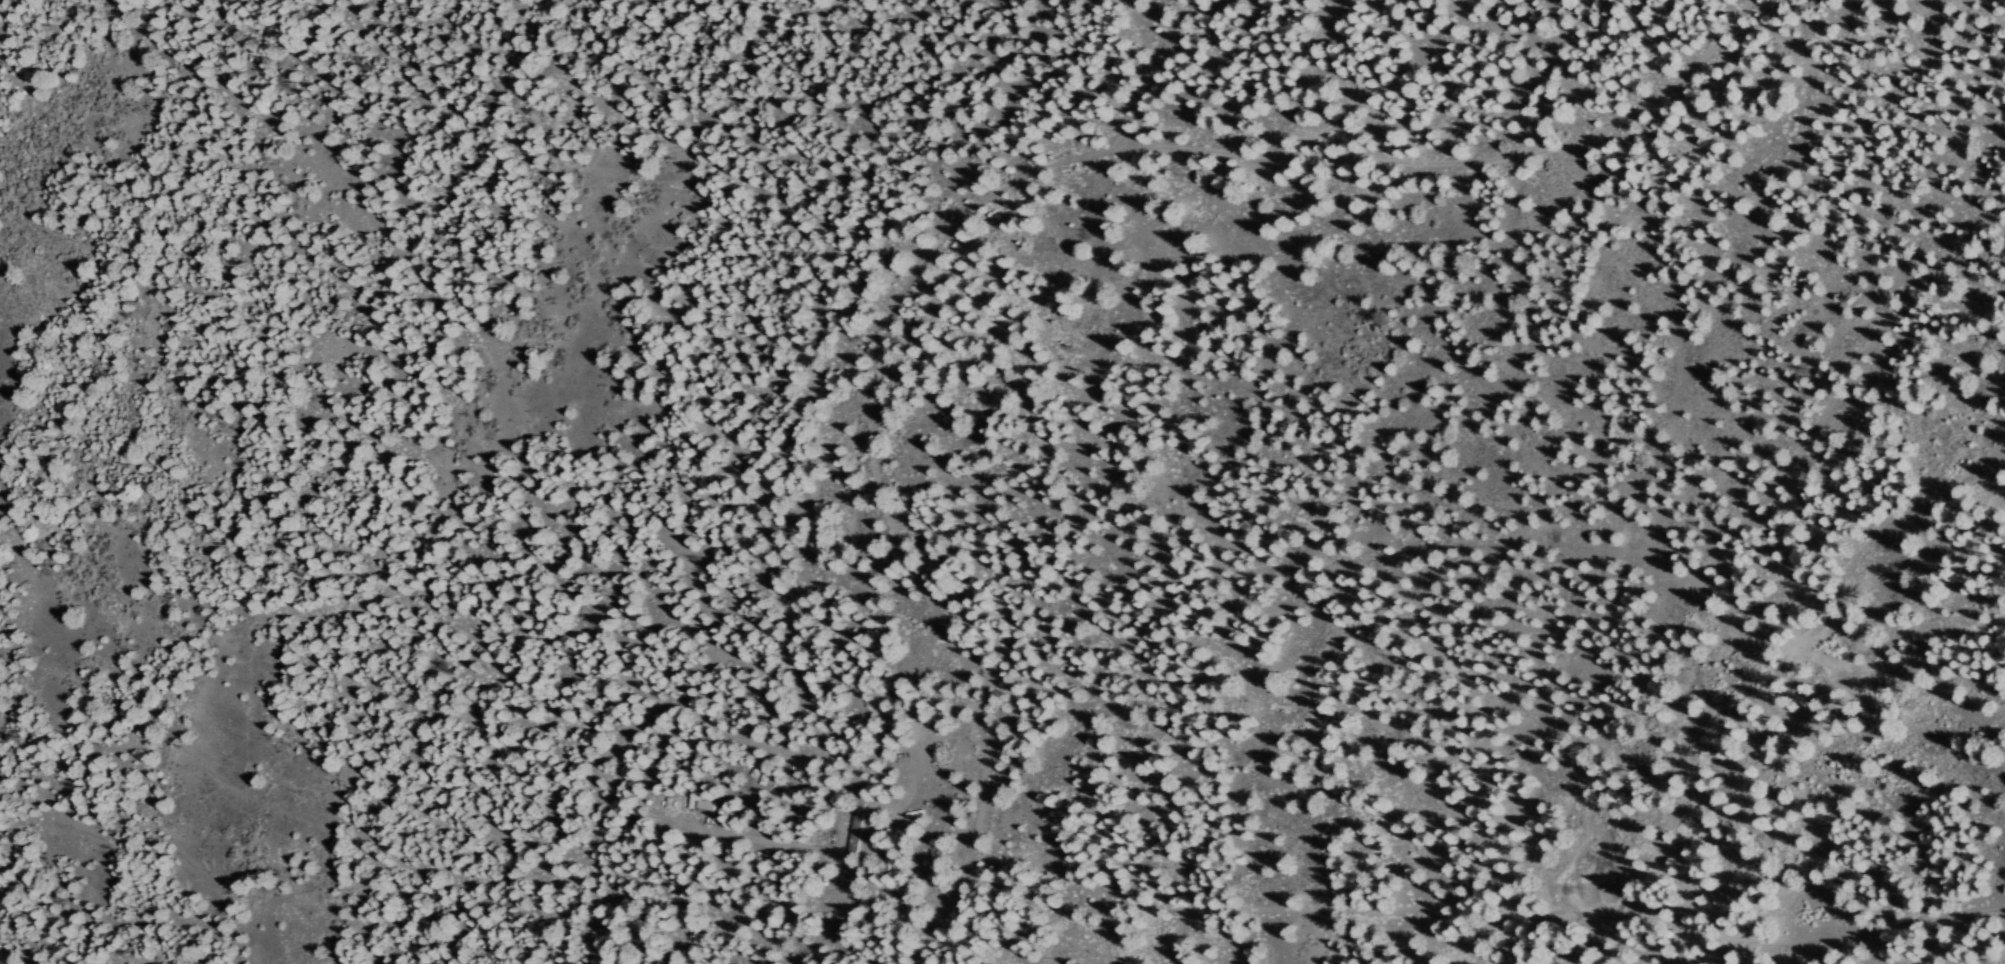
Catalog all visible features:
road: (1998, 10)
road: (1065, 157)
road: (1844, 369)
road: (1420, 625)

